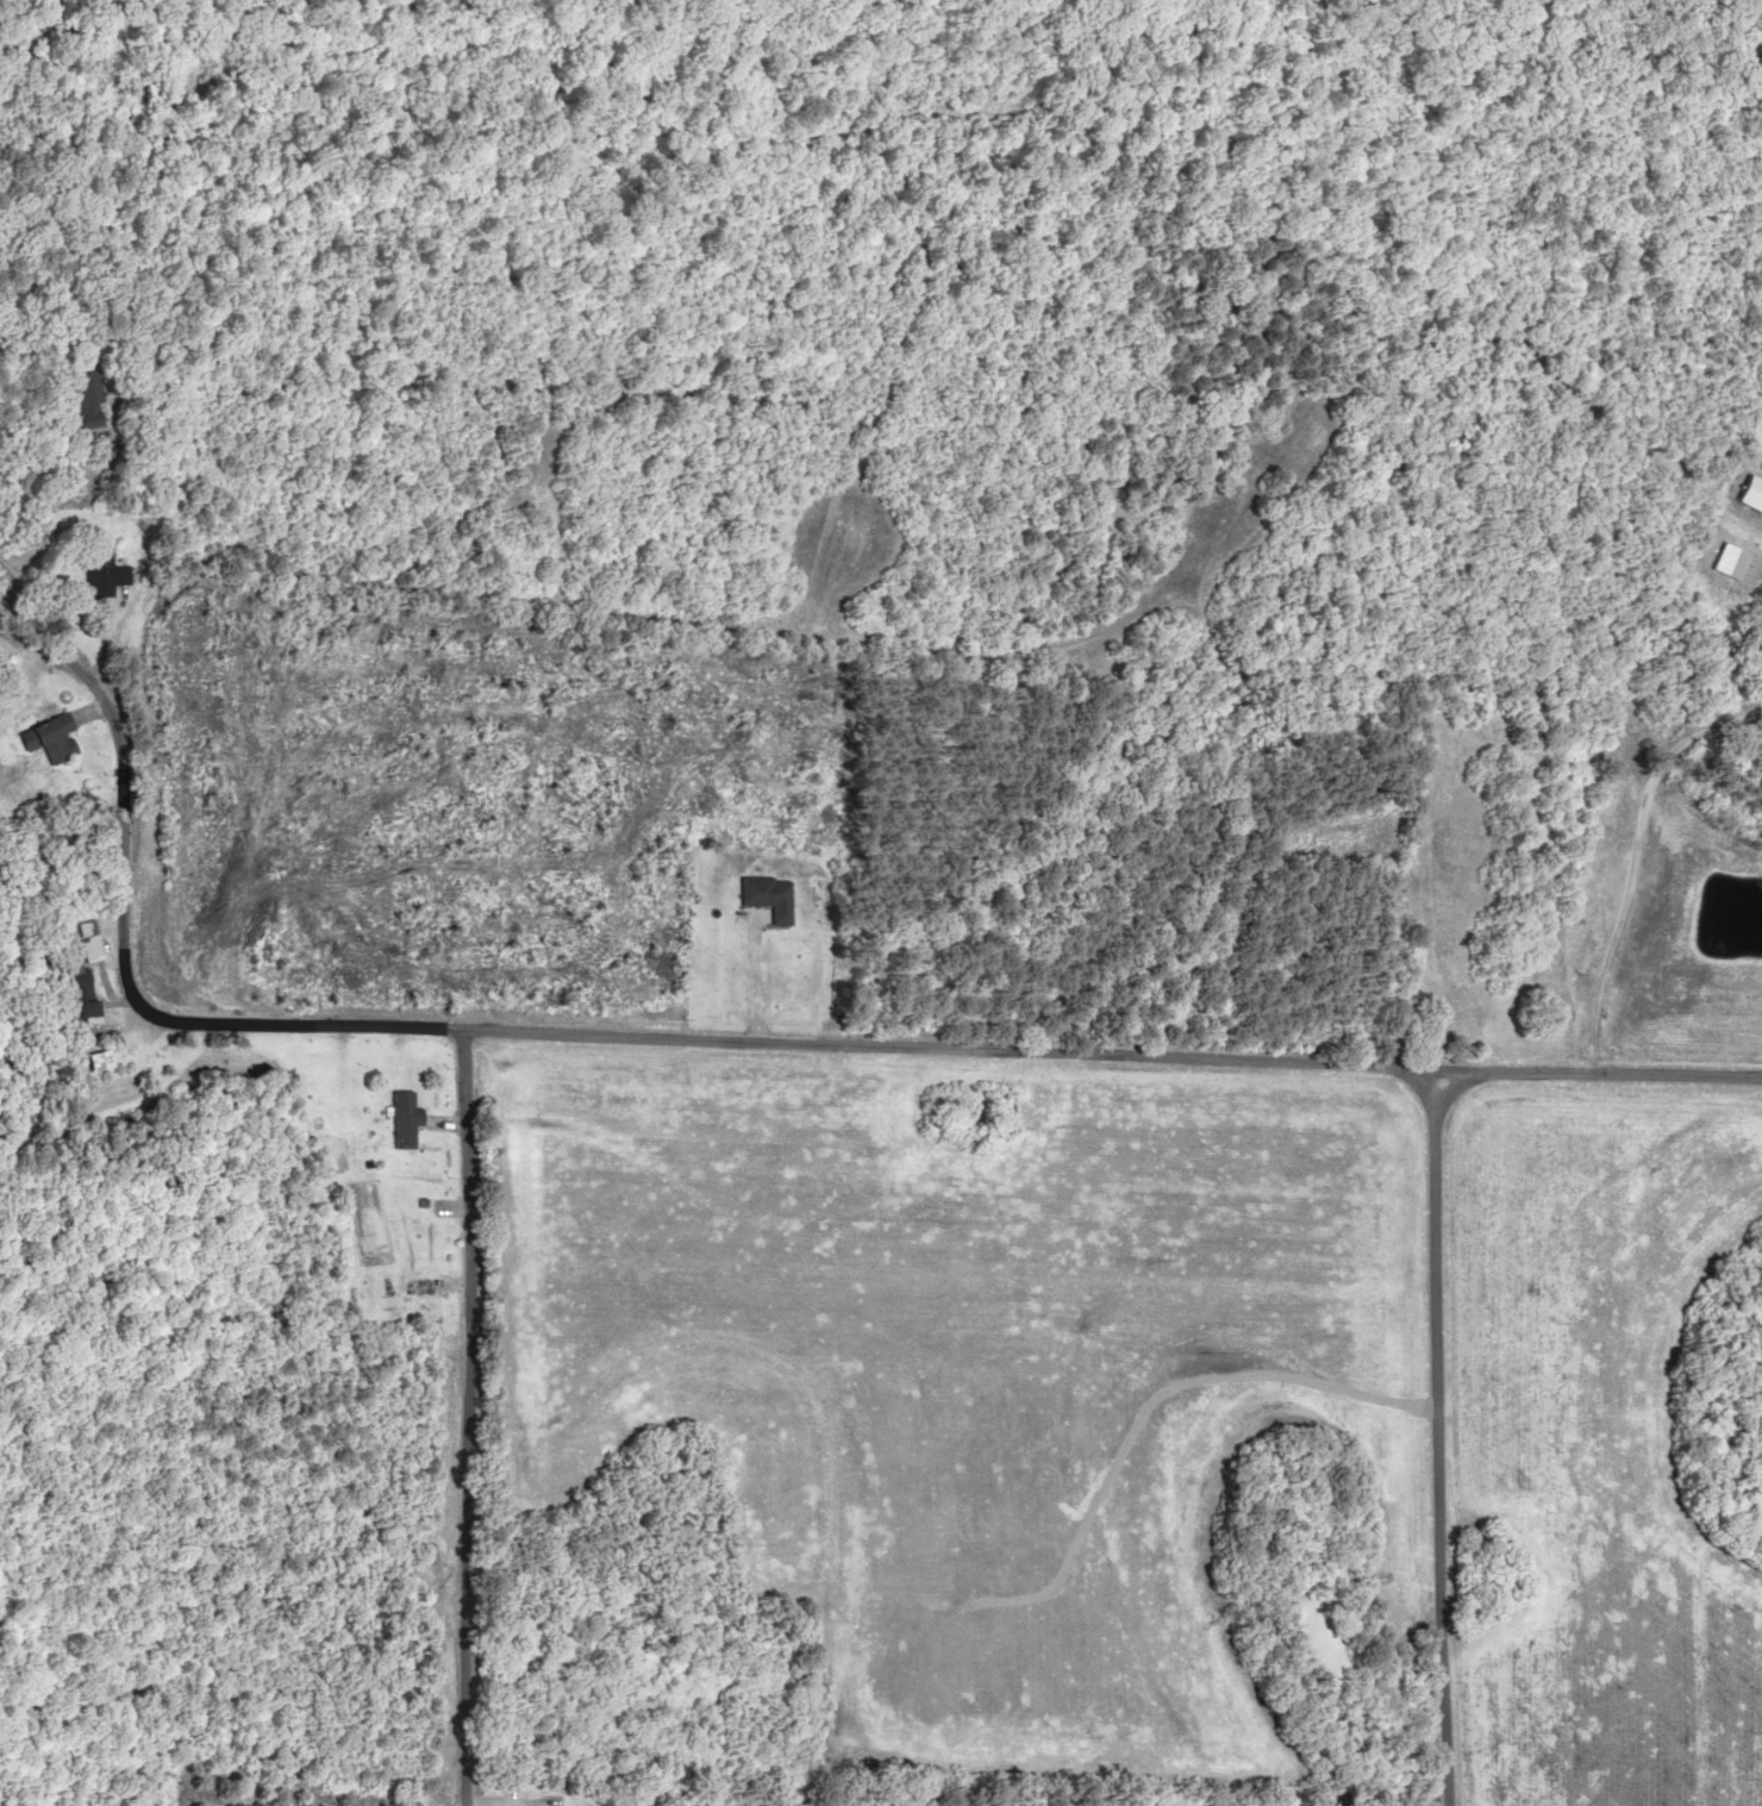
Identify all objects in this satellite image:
building: (76, 399)
building: (92, 574)
building: (44, 738)
building: (1435, 832)
building: (1430, 887)
building: (770, 895)
building: (82, 941)
building: (1436, 948)
building: (68, 992)
building: (1470, 1004)
road: (719, 1067)
building: (401, 1118)
road: (475, 1437)
road: (1438, 1444)

